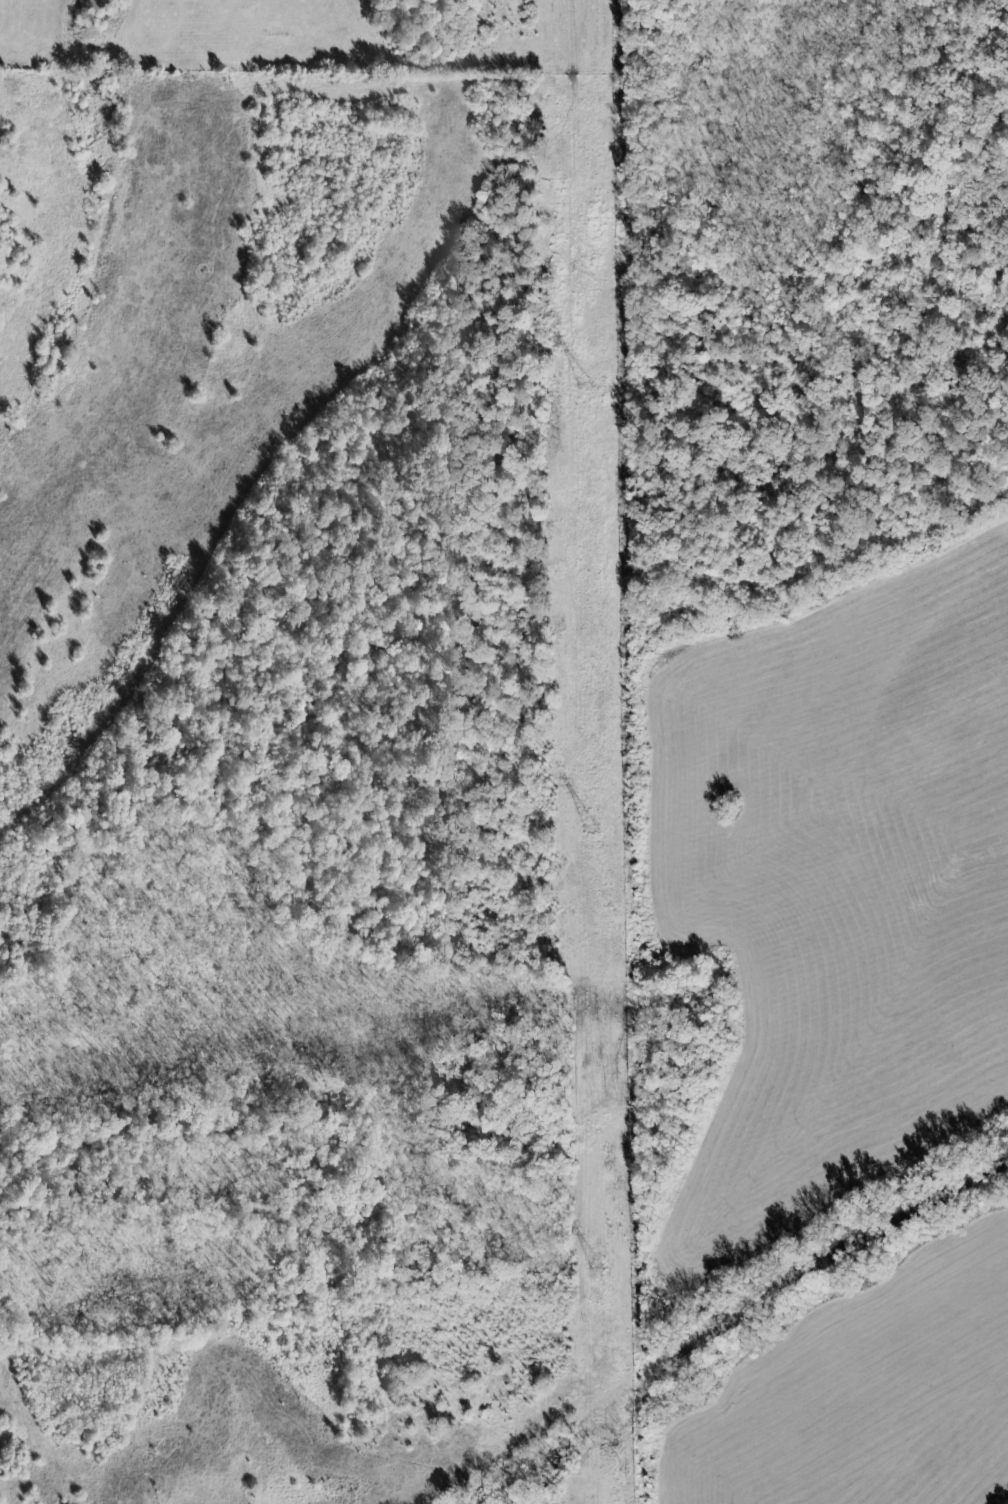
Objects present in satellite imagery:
power tower: (587, 383)
power tower: (594, 835)
power tower: (595, 1272)

